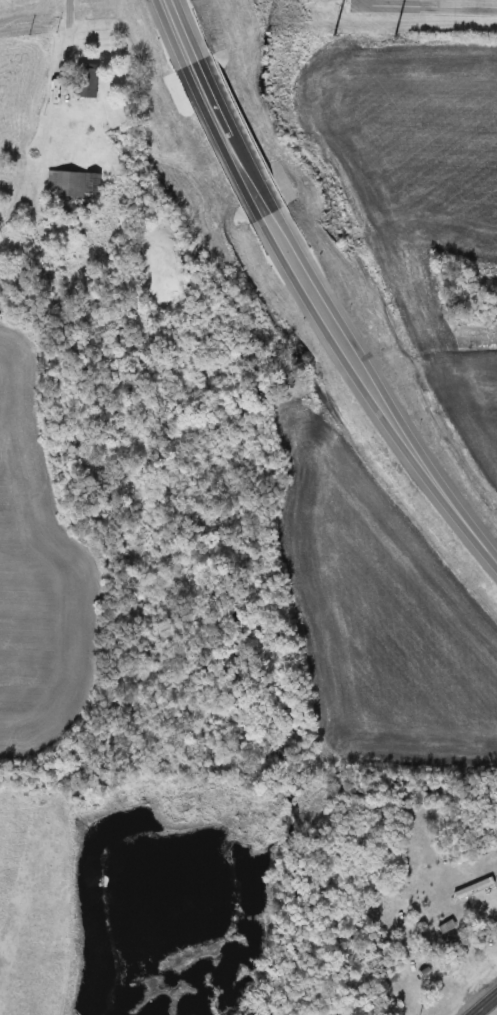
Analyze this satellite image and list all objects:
road: (425, 8)
road: (72, 37)
road: (191, 40)
building: (85, 81)
road: (257, 169)
building: (75, 185)
road: (397, 394)
building: (473, 889)
road: (488, 1007)

